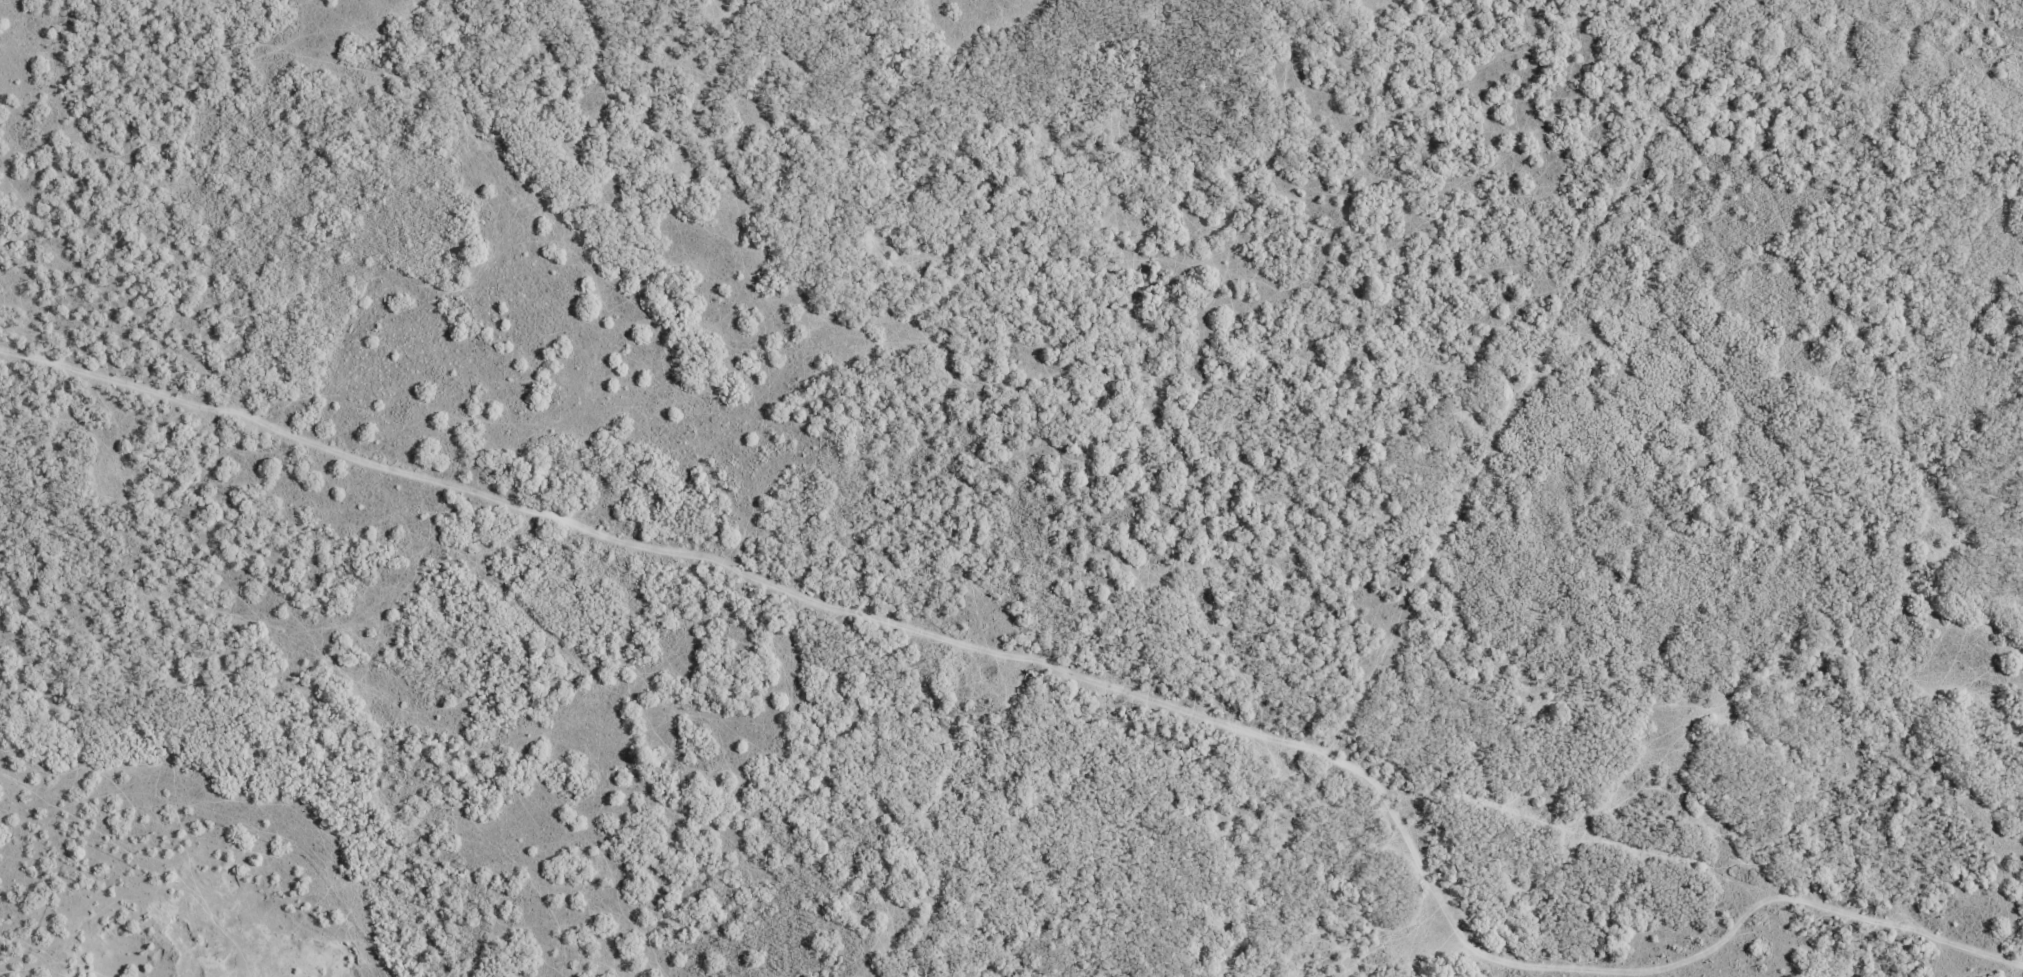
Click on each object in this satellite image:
road: (1871, 429)

